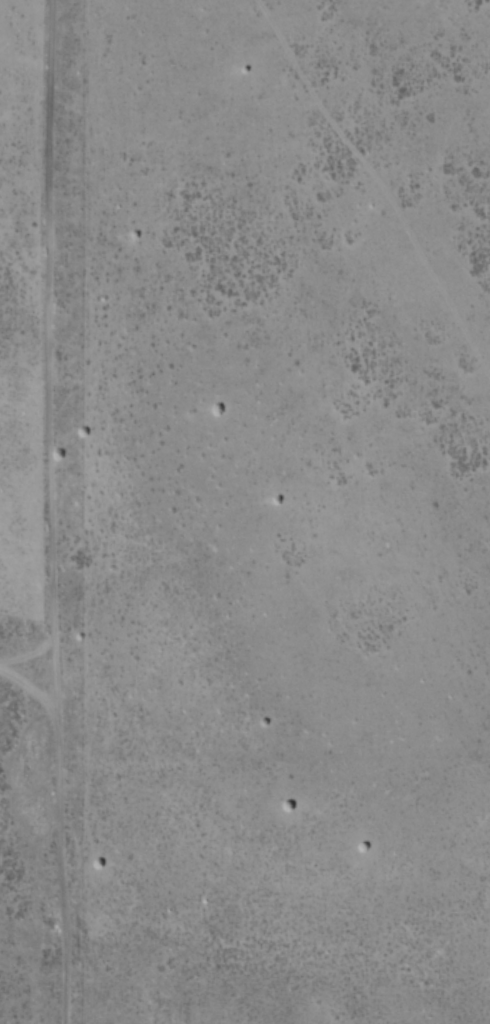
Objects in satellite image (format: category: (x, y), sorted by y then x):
crop: (27, 511)
road: (46, 512)

